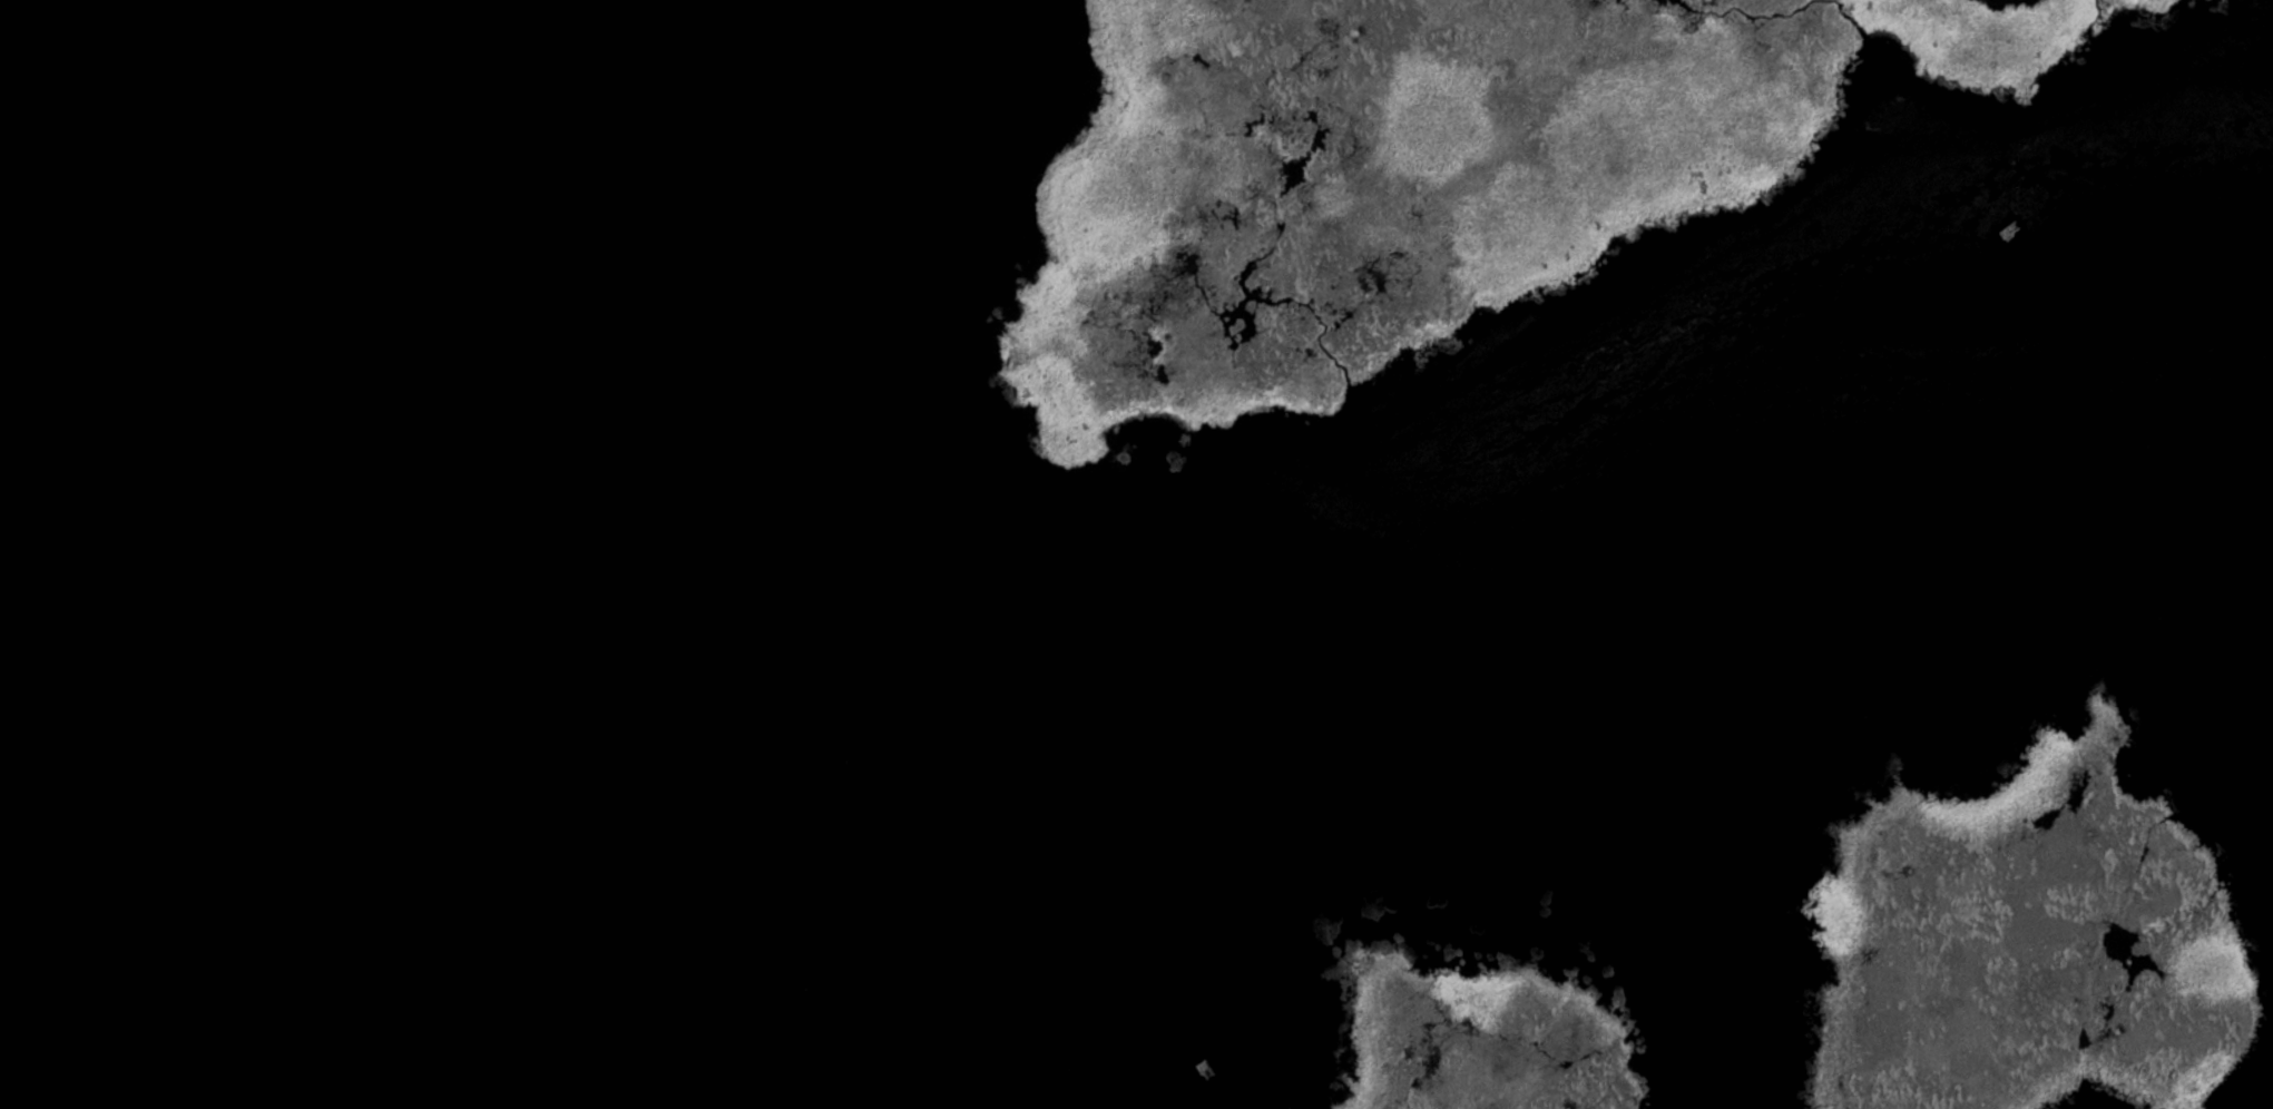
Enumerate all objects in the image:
river: (374, 554)

